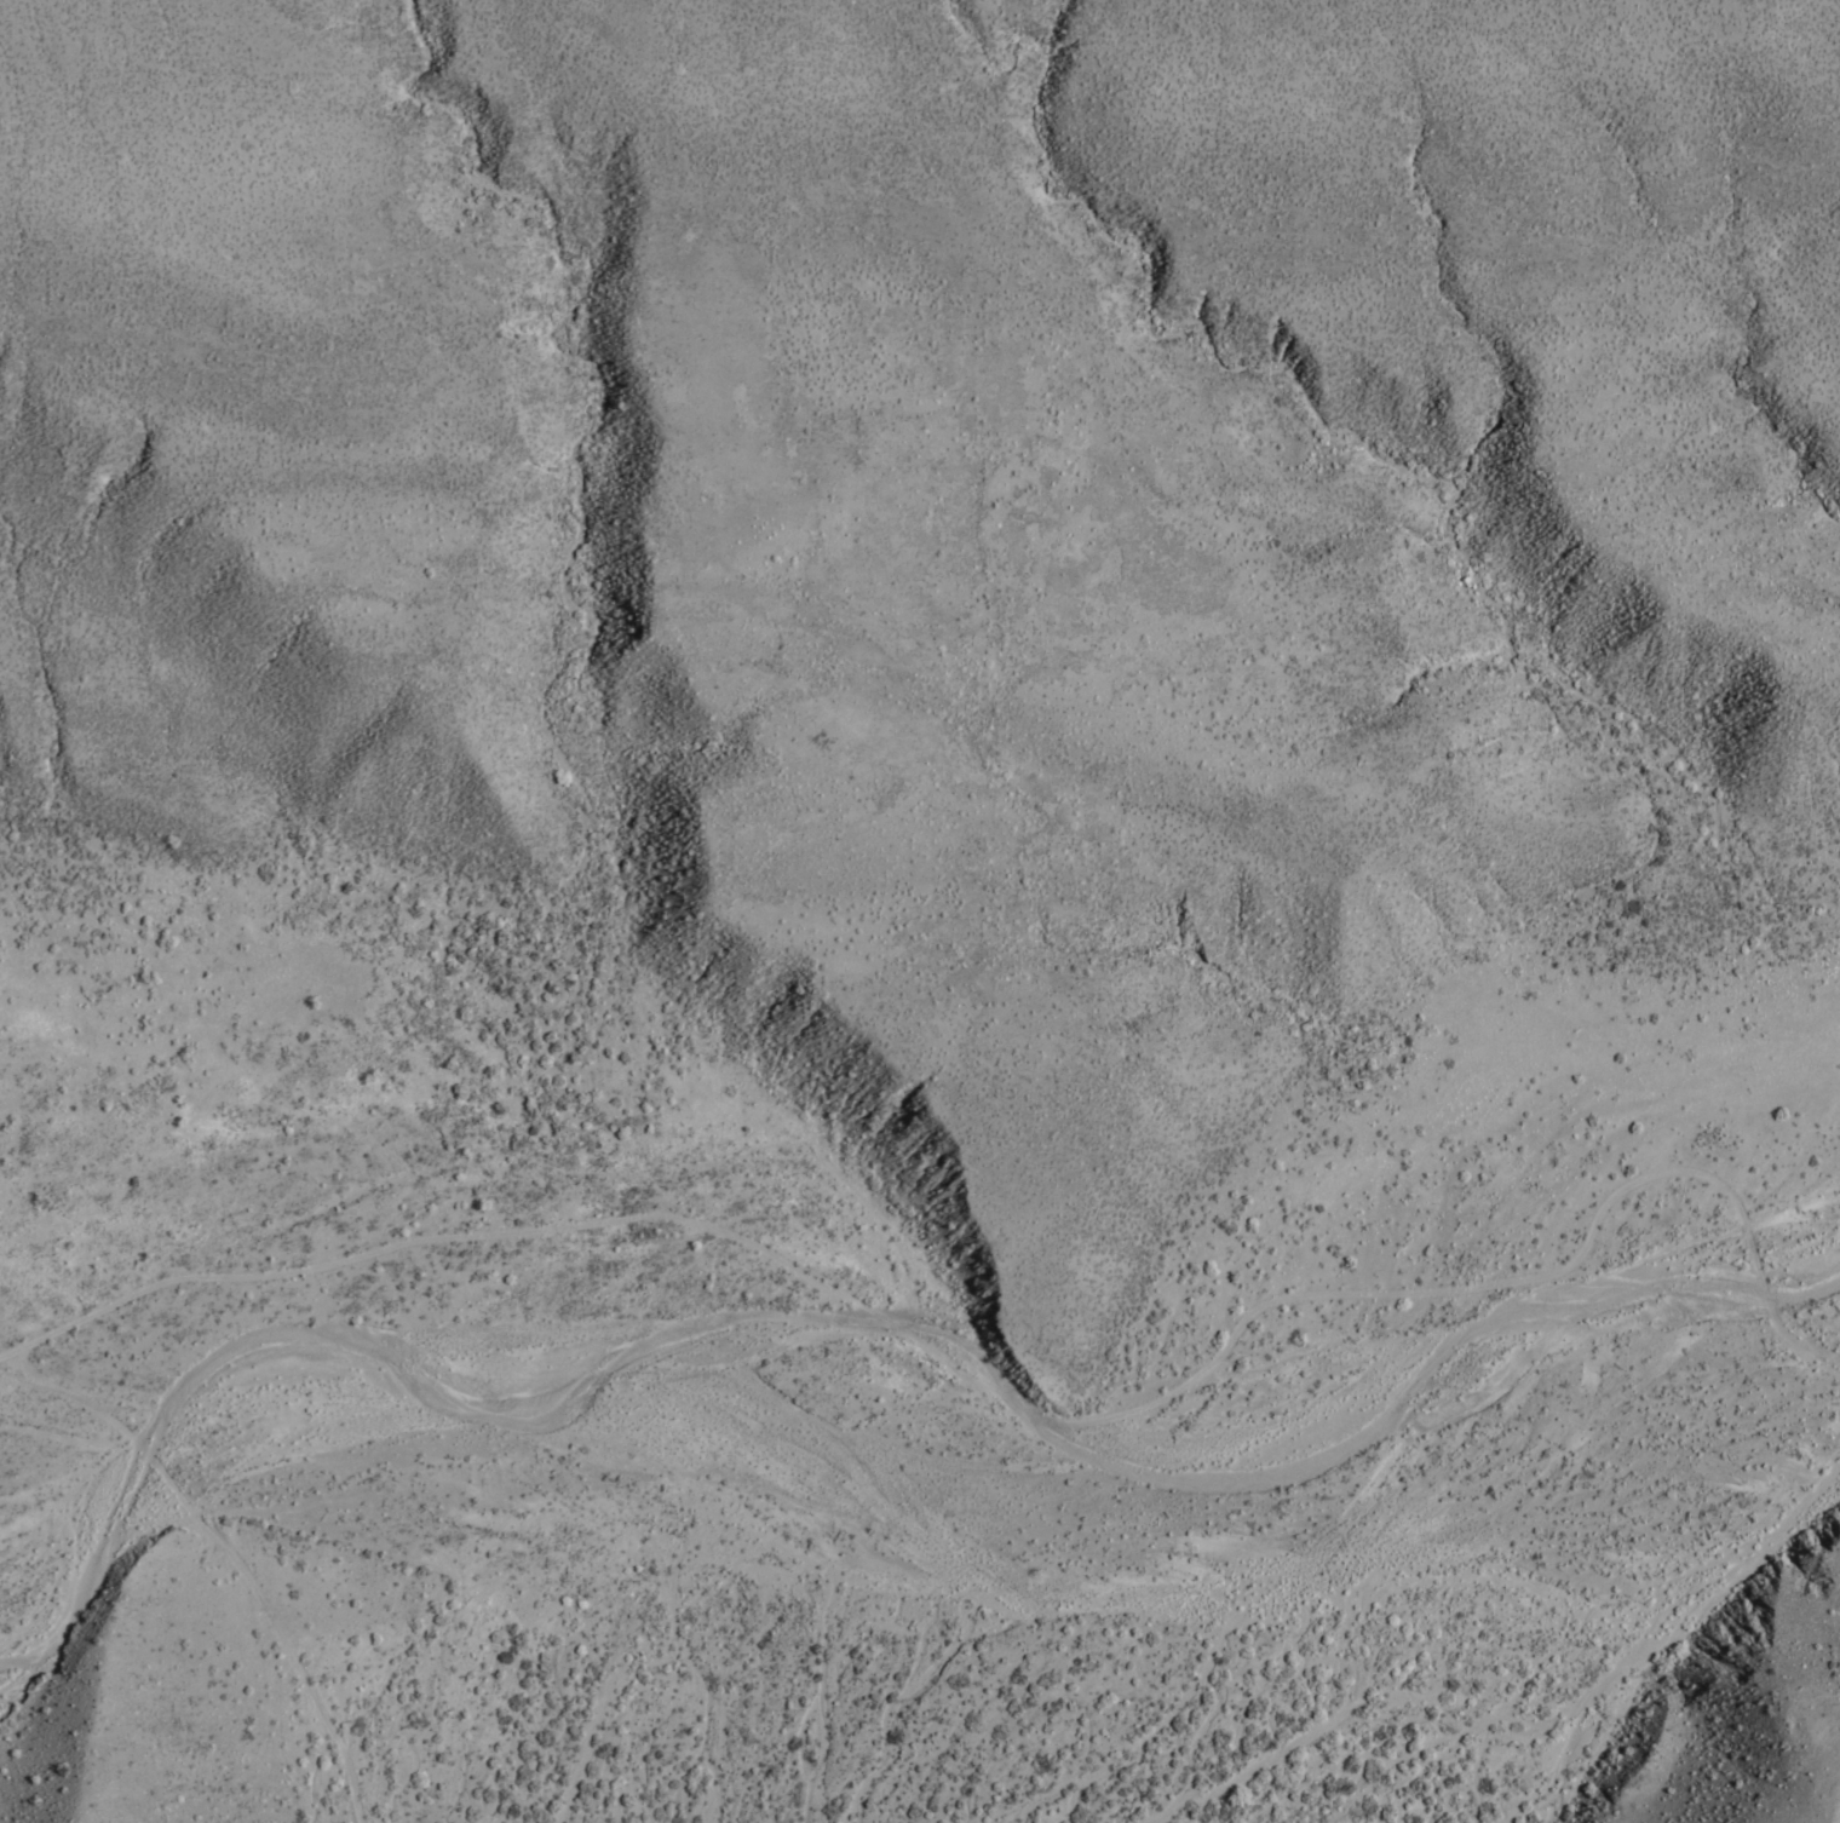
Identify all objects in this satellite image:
road: (897, 1443)
road: (231, 1554)

